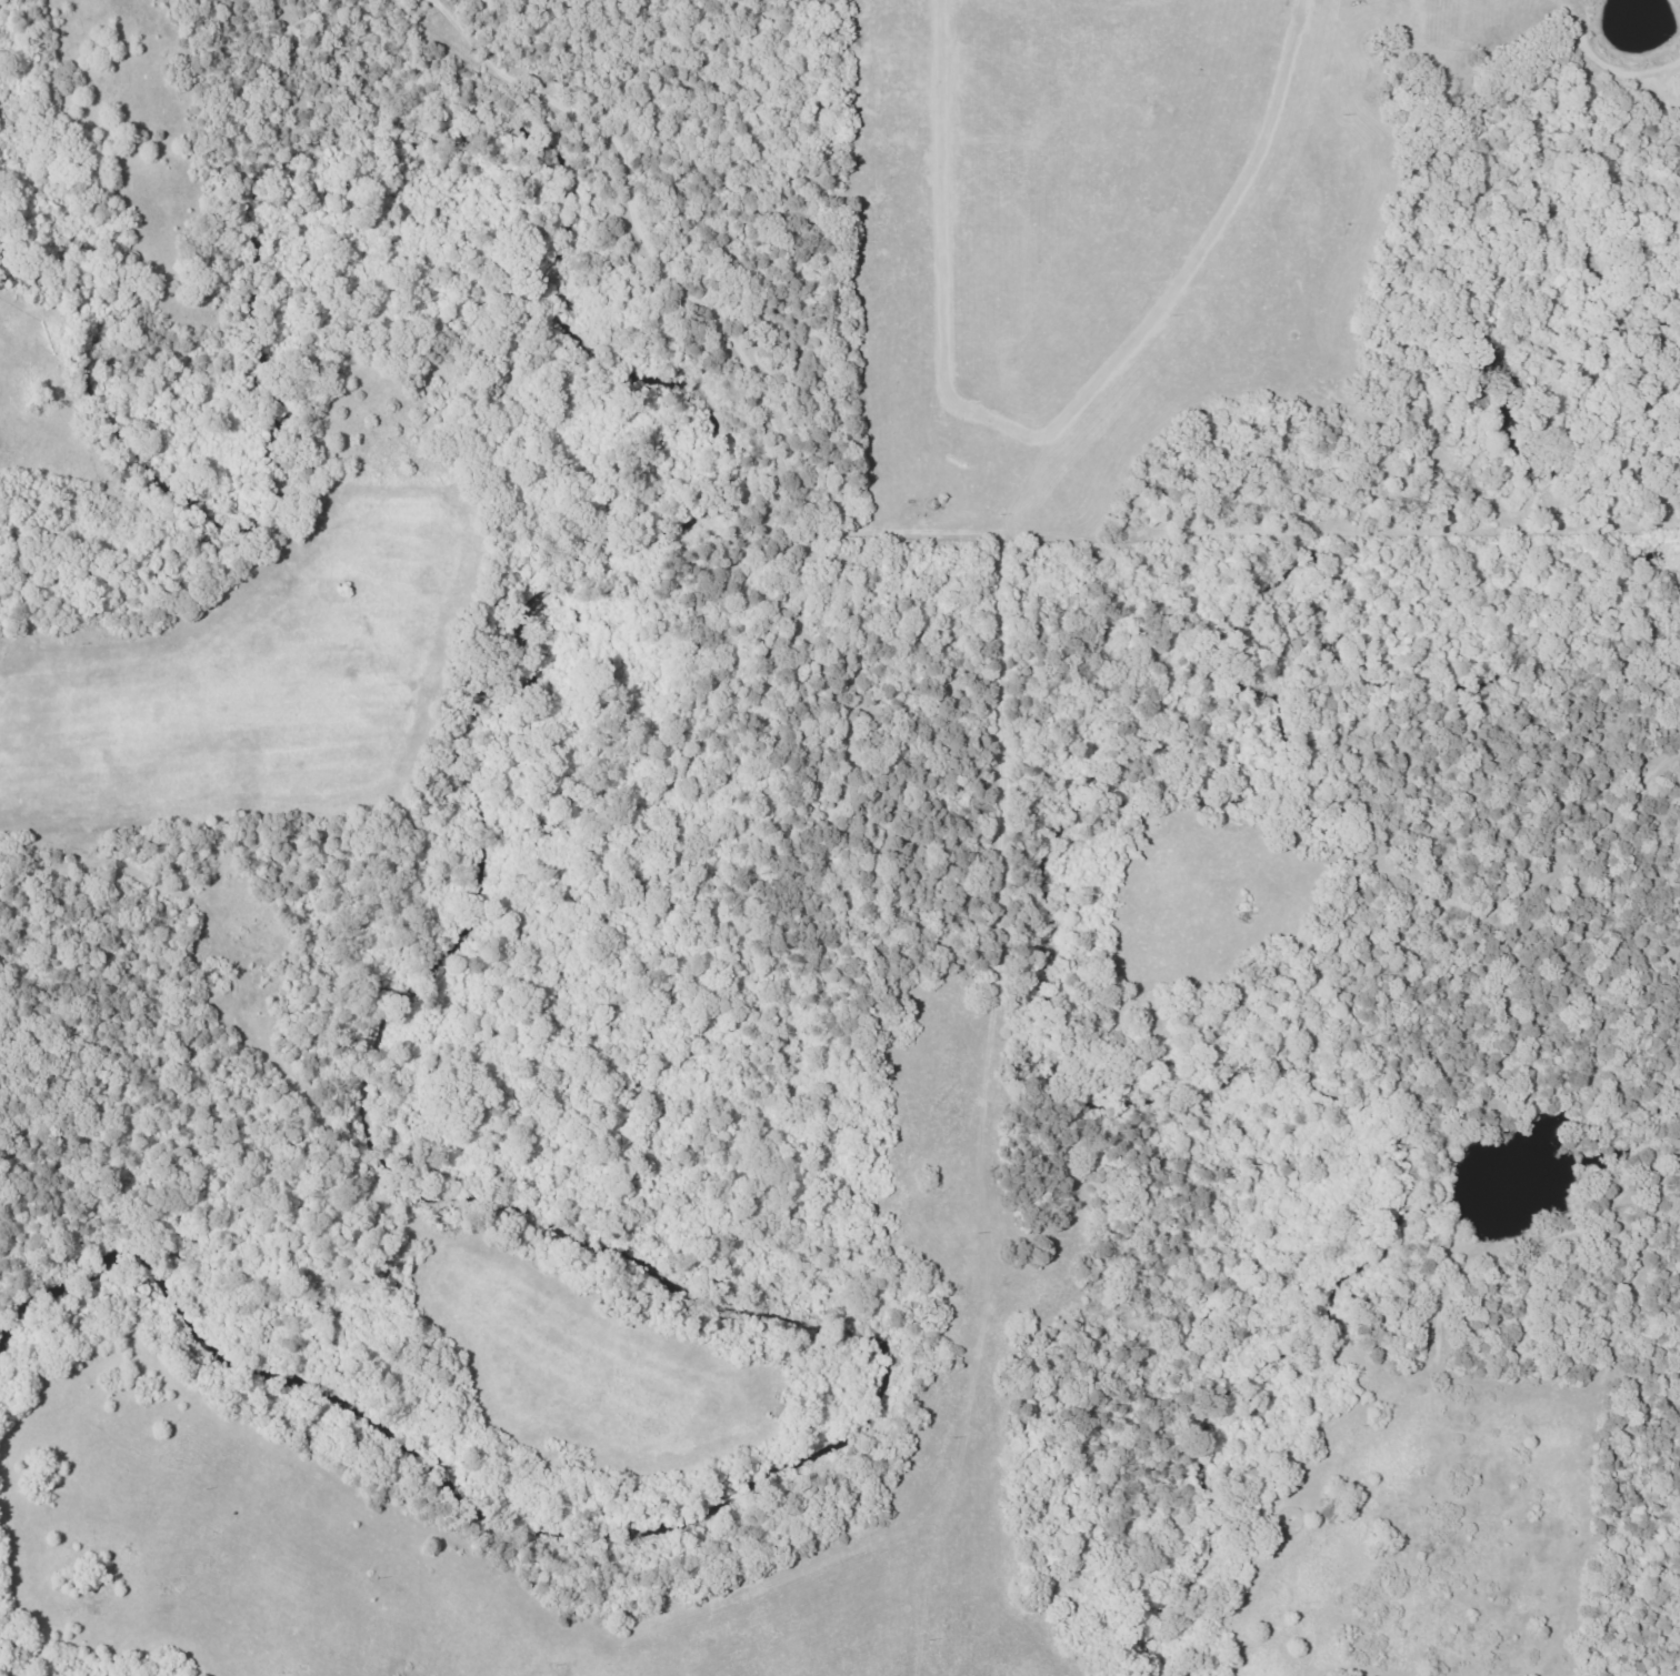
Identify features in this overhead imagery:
road: (1001, 695)

